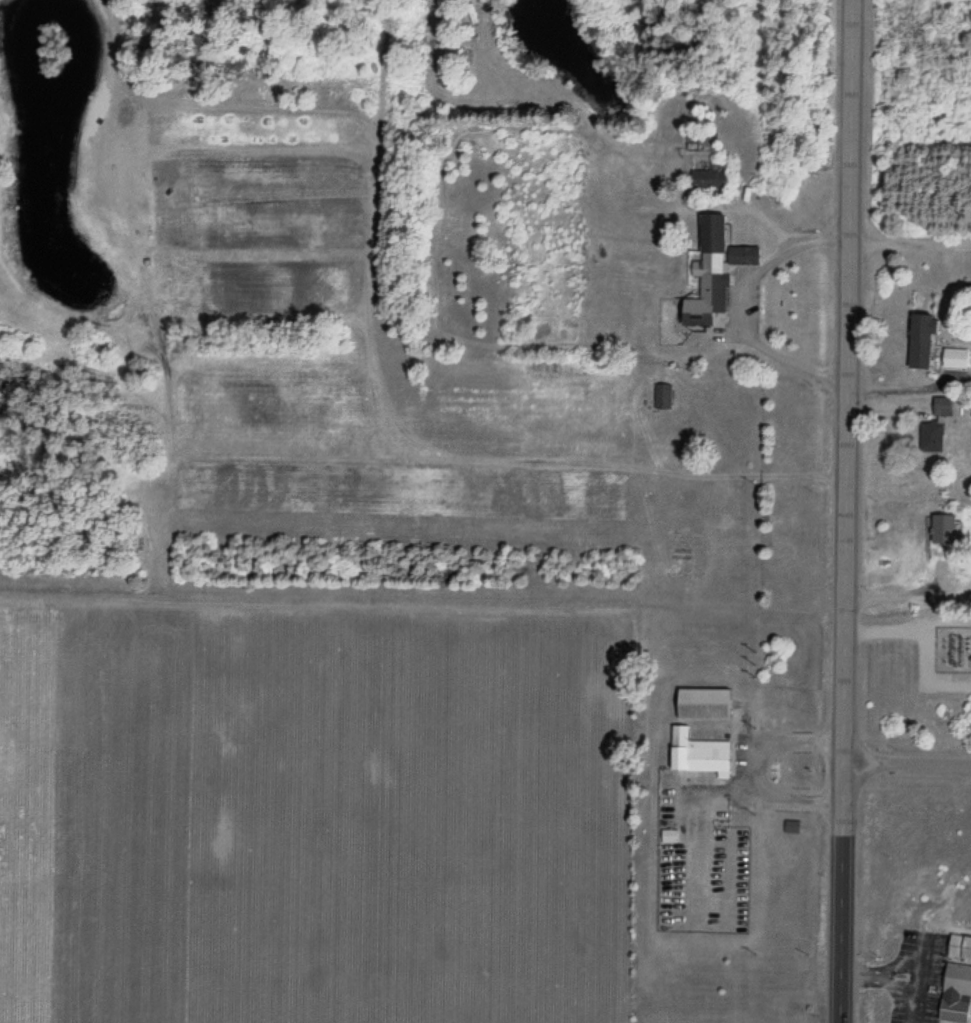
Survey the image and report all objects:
building: (700, 142)
building: (711, 176)
building: (718, 269)
building: (923, 355)
building: (956, 359)
building: (662, 397)
building: (943, 407)
building: (933, 438)
road: (846, 511)
building: (945, 529)
power substation: (953, 641)
building: (701, 754)
road: (907, 765)
building: (792, 827)
building: (960, 947)
building: (956, 994)

